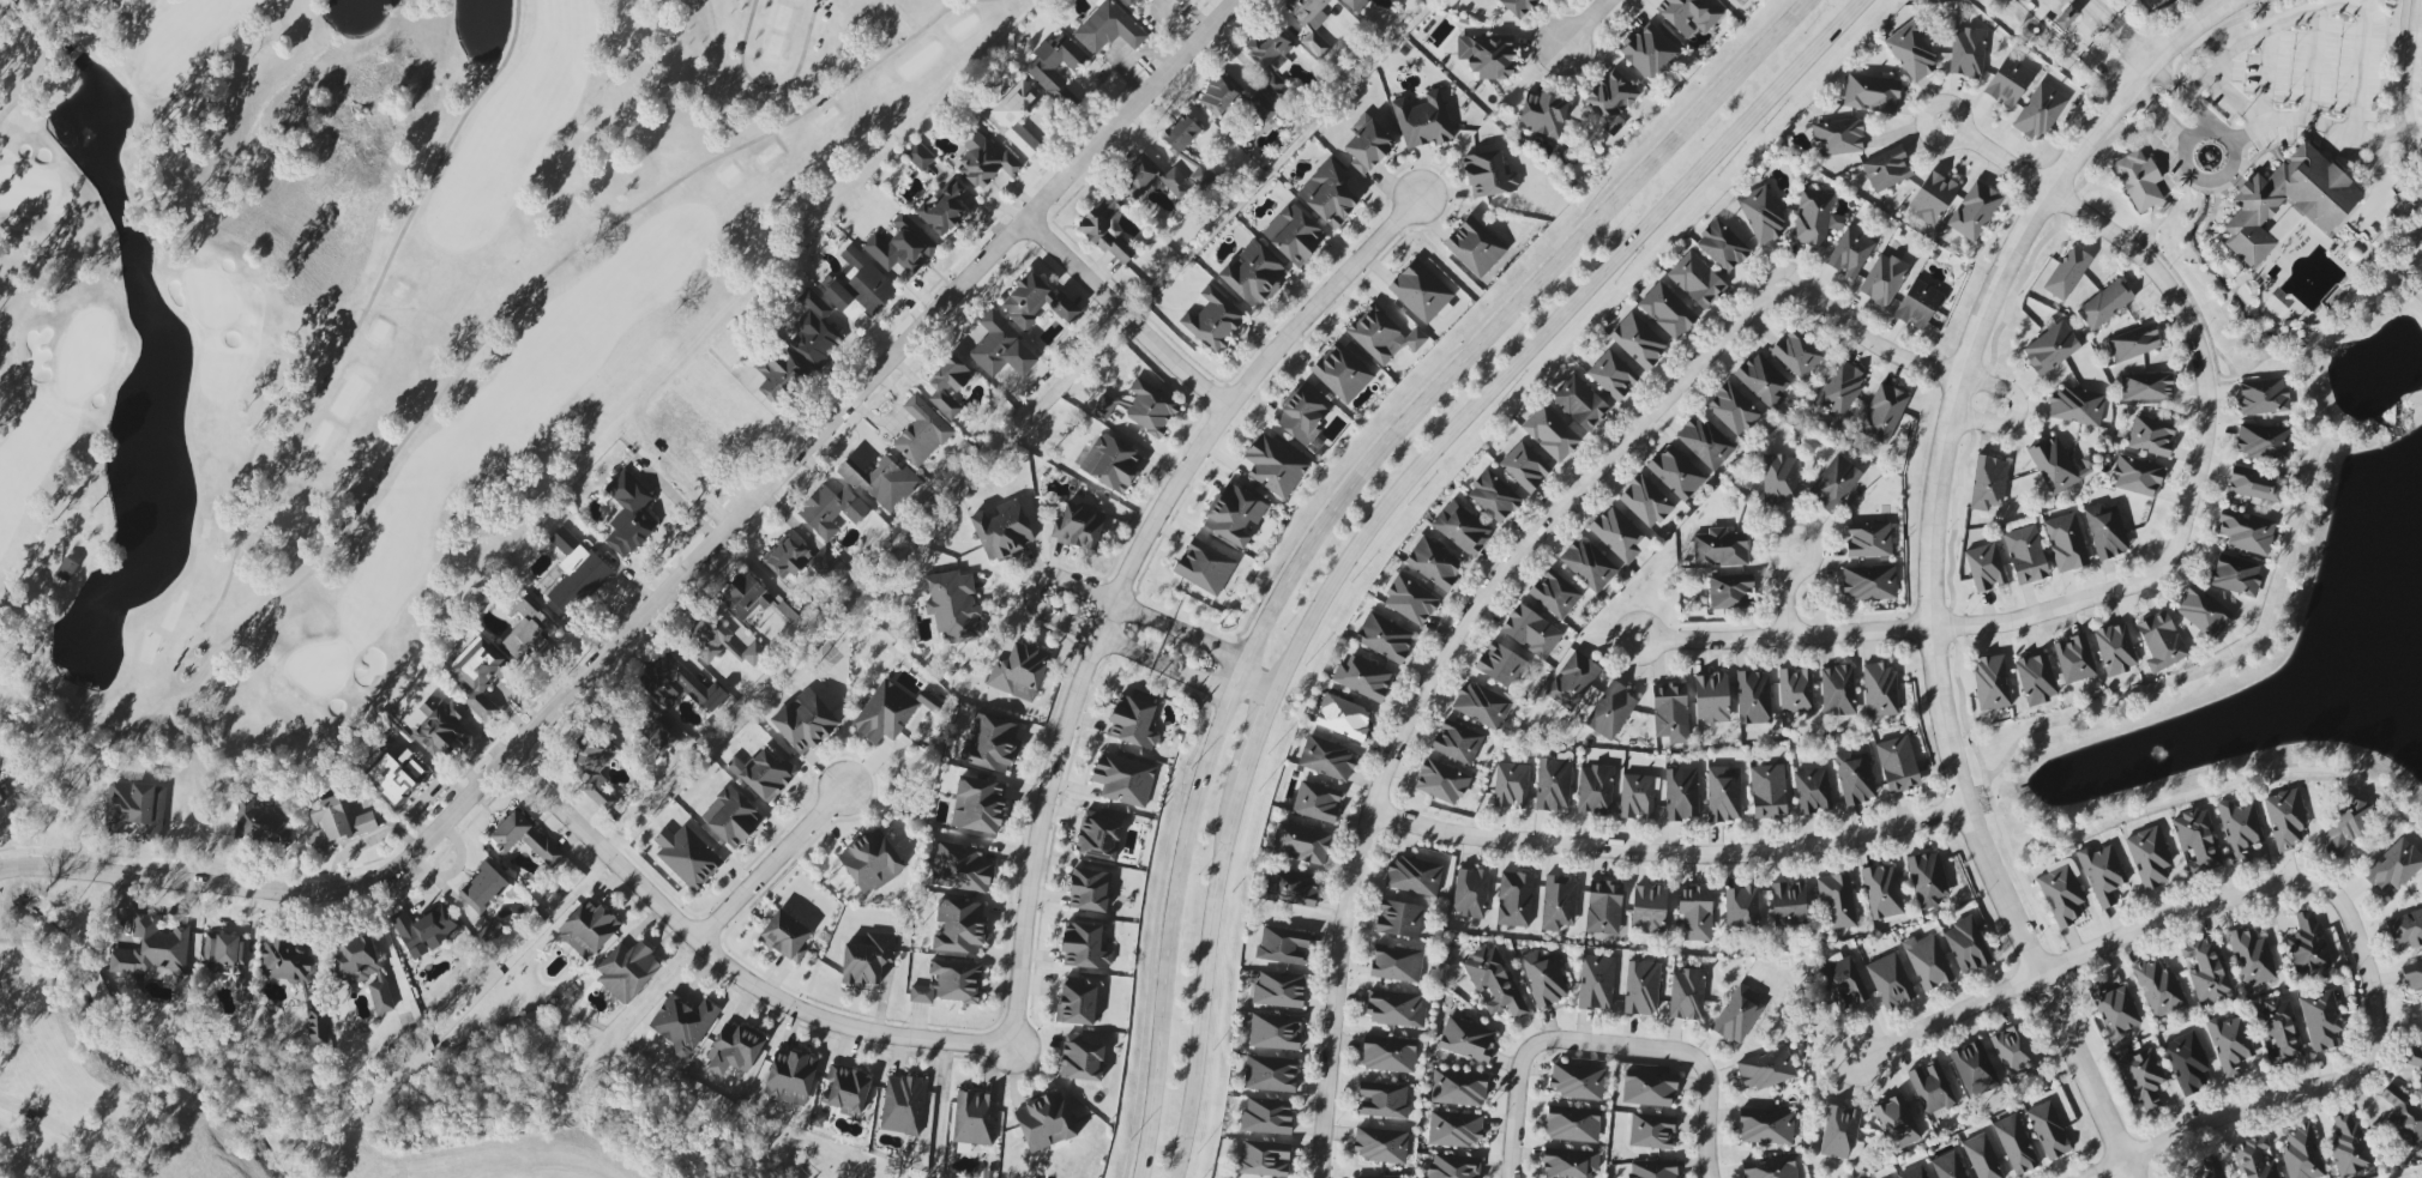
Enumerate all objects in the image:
building: (1179, 1)
road: (4, 2)
building: (1134, 4)
building: (1360, 4)
building: (1518, 6)
road: (2034, 7)
road: (2048, 7)
road: (2356, 8)
road: (120, 13)
road: (945, 13)
road: (904, 16)
building: (1688, 16)
building: (2066, 18)
building: (1311, 23)
road: (1586, 23)
building: (1108, 29)
road: (2117, 30)
road: (2182, 34)
road: (76, 52)
building: (1649, 52)
road: (2083, 52)
building: (1911, 53)
building: (1966, 53)
building: (1487, 55)
building: (1271, 60)
building: (1055, 65)
road: (2415, 68)
road: (2168, 78)
building: (2008, 83)
road: (772, 86)
road: (34, 89)
building: (1872, 93)
building: (1219, 95)
building: (1611, 99)
building: (1261, 107)
building: (2040, 111)
road: (2203, 111)
road: (2159, 114)
building: (1543, 115)
building: (1018, 116)
road: (2288, 120)
building: (1423, 121)
building: (1181, 134)
building: (1838, 138)
road: (1950, 143)
building: (1368, 146)
building: (918, 156)
building: (984, 161)
building: (1886, 169)
building: (1197, 170)
road: (2223, 173)
building: (1489, 175)
building: (1152, 179)
building: (2139, 180)
building: (1329, 193)
building: (1932, 198)
building: (2289, 201)
building: (944, 209)
building: (1974, 211)
building: (1761, 216)
building: (1815, 218)
building: (1108, 234)
building: (1294, 235)
building: (902, 247)
building: (1475, 247)
building: (1722, 247)
building: (1850, 253)
road: (1078, 270)
building: (2067, 273)
building: (1253, 276)
building: (1882, 279)
building: (1697, 280)
building: (860, 285)
road: (2170, 289)
building: (1422, 291)
building: (1026, 301)
building: (1918, 304)
building: (2105, 304)
building: (1064, 308)
building: (1667, 310)
park: (370, 316)
building: (1213, 321)
road: (11, 326)
building: (815, 331)
building: (1382, 336)
building: (1638, 342)
building: (2134, 343)
building: (1001, 349)
building: (2050, 349)
building: (1796, 354)
road: (1179, 364)
fountain: (2385, 370)
building: (778, 374)
building: (1342, 374)
building: (1611, 375)
building: (1763, 381)
building: (947, 386)
building: (2146, 387)
building: (1839, 389)
building: (2263, 397)
building: (1580, 403)
building: (2077, 405)
building: (1141, 407)
building: (1733, 410)
road: (2018, 411)
building: (1882, 413)
building: (1301, 417)
building: (707, 427)
building: (921, 433)
building: (1550, 433)
building: (2150, 436)
building: (1704, 442)
building: (2265, 442)
building: (1111, 464)
building: (1275, 466)
building: (2053, 466)
building: (1525, 467)
building: (2086, 470)
building: (1676, 473)
building: (2138, 476)
building: (1779, 479)
building: (1833, 482)
building: (882, 483)
building: (1988, 483)
building: (2255, 485)
building: (1493, 496)
building: (1645, 502)
building: (833, 512)
road: (1330, 513)
building: (629, 514)
road: (1381, 514)
building: (1233, 515)
building: (1079, 526)
building: (1462, 528)
building: (1001, 531)
building: (2107, 531)
building: (2246, 531)
building: (1619, 534)
building: (1868, 540)
building: (2066, 543)
building: (1719, 549)
building: (2025, 555)
building: (784, 558)
building: (1434, 563)
building: (1587, 564)
road: (1782, 564)
building: (830, 566)
building: (1204, 567)
building: (1984, 567)
building: (67, 569)
building: (574, 574)
road: (1126, 575)
building: (2235, 575)
road: (677, 580)
building: (1869, 582)
road: (1035, 586)
road: (1489, 587)
building: (1730, 592)
building: (1554, 594)
building: (746, 598)
building: (1409, 600)
road: (1788, 603)
road: (2067, 605)
building: (953, 606)
building: (2201, 611)
road: (1932, 618)
road: (1652, 627)
building: (528, 630)
building: (1531, 632)
building: (707, 635)
road: (1795, 636)
building: (1385, 638)
building: (2161, 641)
building: (2115, 650)
building: (753, 654)
road: (217, 658)
building: (2073, 659)
building: (1501, 664)
building: (1019, 670)
building: (480, 675)
building: (1362, 677)
building: (2036, 679)
building: (1572, 681)
building: (1992, 683)
building: (679, 684)
road: (1257, 687)
building: (1795, 690)
building: (1838, 690)
building: (1880, 690)
building: (1711, 697)
building: (1754, 697)
building: (1481, 706)
building: (1610, 711)
building: (885, 713)
building: (1670, 713)
building: (1343, 717)
building: (805, 723)
building: (1133, 723)
building: (440, 730)
building: (656, 733)
building: (992, 743)
building: (1457, 743)
fountain: (2147, 753)
building: (1326, 759)
building: (1898, 765)
building: (594, 767)
building: (764, 774)
building: (398, 778)
building: (1855, 778)
building: (1123, 779)
building: (1441, 783)
building: (1511, 785)
building: (1554, 785)
building: (1595, 790)
building: (1812, 791)
building: (1767, 792)
building: (1681, 795)
building: (1723, 795)
building: (1637, 797)
building: (1, 802)
building: (1317, 802)
building: (978, 805)
road: (562, 807)
building: (135, 808)
building: (731, 817)
building: (2285, 820)
building: (337, 823)
building: (261, 824)
building: (2346, 824)
building: (2240, 829)
building: (1098, 838)
building: (525, 839)
building: (2197, 840)
building: (1300, 844)
road: (1671, 853)
road: (460, 854)
building: (687, 857)
building: (2149, 857)
building: (870, 862)
road: (772, 864)
building: (2394, 866)
building: (960, 868)
building: (2102, 874)
building: (1414, 876)
building: (1927, 880)
road: (439, 882)
building: (1290, 887)
building: (483, 889)
building: (1089, 890)
building: (1882, 892)
building: (1470, 893)
building: (2061, 893)
building: (1514, 899)
building: (1836, 902)
building: (1559, 904)
building: (1789, 904)
road: (417, 906)
building: (1603, 908)
building: (1741, 908)
building: (1649, 910)
building: (1694, 914)
building: (1399, 919)
building: (959, 926)
building: (589, 929)
building: (2405, 929)
building: (426, 930)
building: (785, 937)
road: (2113, 941)
building: (2307, 944)
building: (1085, 946)
building: (1283, 946)
building: (1966, 946)
building: (152, 950)
building: (225, 950)
building: (2251, 957)
building: (867, 959)
building: (1927, 962)
building: (1398, 963)
building: (363, 969)
building: (627, 971)
building: (2207, 972)
building: (2412, 975)
building: (1544, 978)
building: (297, 981)
building: (1494, 981)
building: (1842, 981)
building: (1890, 981)
building: (950, 983)
building: (1596, 983)
building: (1641, 987)
building: (2158, 987)
building: (1278, 990)
building: (243, 992)
building: (1686, 995)
road: (787, 1003)
building: (1077, 1004)
building: (1394, 1009)
building: (2114, 1010)
building: (1737, 1015)
building: (2321, 1020)
building: (683, 1023)
building: (2278, 1029)
building: (1275, 1032)
building: (1466, 1040)
building: (2229, 1045)
building: (734, 1050)
building: (2013, 1053)
building: (1388, 1055)
building: (1080, 1059)
building: (2414, 1059)
building: (2187, 1063)
road: (1517, 1064)
building: (1766, 1069)
building: (1974, 1069)
building: (1270, 1074)
road: (1706, 1074)
building: (790, 1077)
building: (2144, 1079)
building: (1578, 1081)
building: (1458, 1088)
building: (1649, 1088)
building: (1932, 1089)
building: (845, 1091)
road: (2290, 1094)
building: (1382, 1100)
building: (903, 1105)
building: (2403, 1116)
building: (1266, 1117)
building: (974, 1118)
building: (1044, 1123)
building: (1897, 1123)
building: (1573, 1124)
building: (1765, 1126)
building: (1454, 1129)
building: (1651, 1131)
building: (2048, 1131)
building: (1839, 1132)
building: (1380, 1144)
building: (2016, 1144)
building: (2349, 1147)
building: (2301, 1154)
building: (1982, 1158)
building: (1264, 1159)
building: (2253, 1159)
building: (1570, 1164)
building: (1947, 1166)
building: (1454, 1167)
building: (1771, 1167)
building: (2211, 1167)
building: (1653, 1168)
building: (1914, 1173)
building: (1386, 1177)

